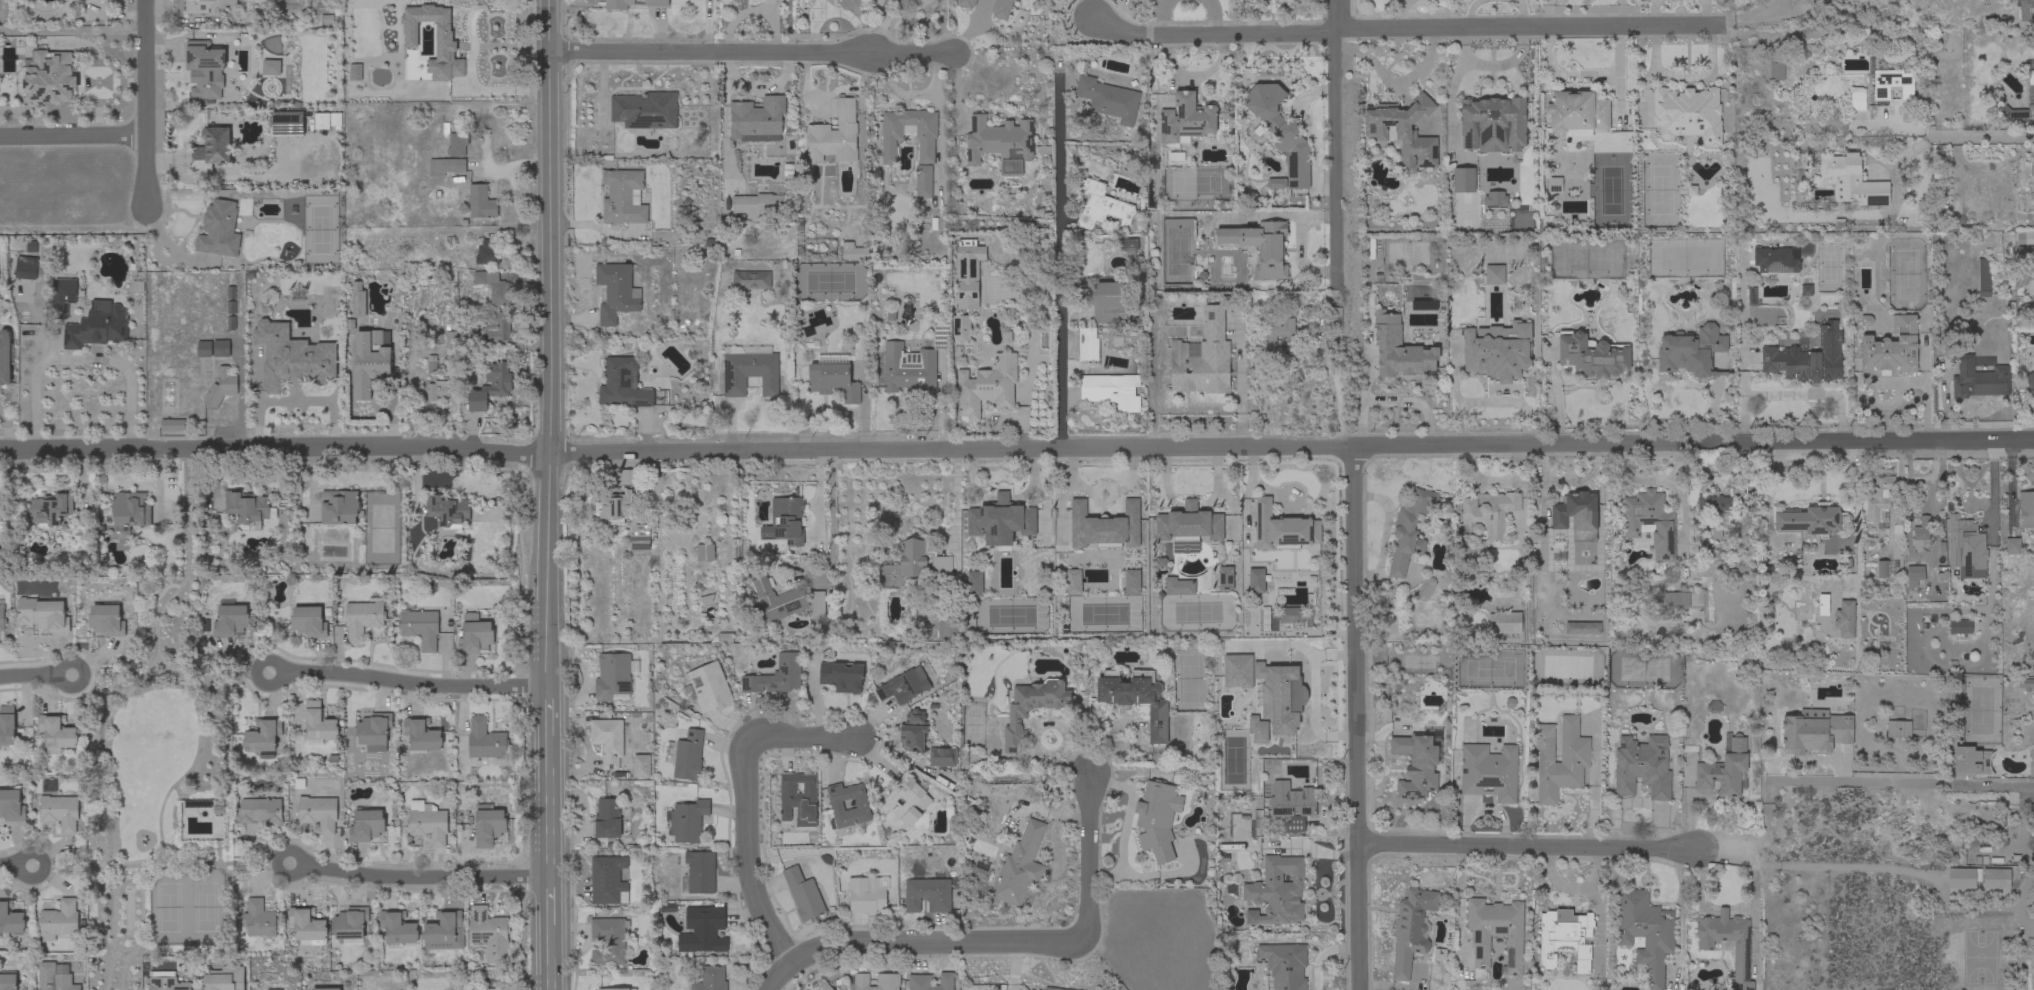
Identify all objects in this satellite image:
building: (1013, 0)
building: (632, 3)
building: (965, 3)
building: (207, 5)
building: (1000, 8)
building: (2026, 10)
road: (1409, 29)
building: (444, 44)
road: (751, 51)
building: (269, 67)
building: (205, 69)
building: (1776, 71)
building: (2030, 71)
building: (47, 78)
building: (1892, 85)
building: (2031, 93)
building: (1108, 99)
building: (1857, 101)
road: (143, 103)
building: (645, 110)
building: (1577, 113)
building: (2016, 113)
building: (1687, 114)
building: (757, 119)
building: (413, 120)
building: (1185, 120)
building: (321, 121)
building: (286, 122)
road: (1892, 123)
building: (1493, 124)
building: (1281, 132)
building: (1403, 132)
road: (71, 135)
building: (834, 136)
building: (892, 136)
road: (1978, 136)
building: (998, 140)
building: (455, 142)
road: (1333, 142)
building: (211, 150)
building: (1800, 160)
building: (445, 166)
building: (1463, 180)
building: (923, 181)
building: (1854, 181)
building: (1276, 183)
building: (1554, 185)
building: (623, 197)
building: (1495, 198)
building: (481, 202)
building: (759, 203)
building: (1101, 206)
building: (219, 229)
building: (1127, 245)
building: (1260, 246)
building: (2025, 247)
building: (853, 251)
building: (487, 252)
road: (1060, 260)
building: (1777, 262)
building: (25, 268)
building: (1494, 274)
building: (968, 275)
building: (1983, 277)
building: (751, 280)
building: (137, 286)
building: (493, 286)
building: (1805, 290)
building: (615, 292)
building: (62, 296)
building: (356, 299)
building: (1106, 302)
building: (97, 326)
building: (497, 326)
building: (960, 328)
building: (1279, 329)
building: (940, 336)
building: (450, 338)
building: (1087, 345)
building: (220, 348)
building: (1398, 348)
building: (1891, 348)
building: (204, 349)
building: (1498, 351)
building: (1691, 351)
building: (1592, 355)
building: (1808, 355)
building: (4, 357)
building: (291, 357)
building: (1202, 358)
road: (81, 359)
building: (368, 362)
building: (431, 364)
building: (908, 368)
building: (749, 369)
building: (833, 378)
building: (1978, 380)
building: (2030, 383)
building: (623, 384)
building: (490, 386)
building: (987, 386)
building: (220, 388)
road: (1239, 388)
road: (1334, 388)
building: (437, 390)
building: (1111, 391)
road: (1390, 400)
building: (172, 425)
road: (1016, 451)
building: (627, 476)
road: (549, 494)
building: (1723, 497)
road: (951, 499)
building: (1878, 501)
building: (246, 506)
building: (614, 507)
building: (50, 508)
building: (340, 508)
building: (2026, 509)
building: (130, 510)
building: (447, 510)
building: (1575, 512)
road: (832, 515)
building: (1486, 515)
building: (1809, 520)
building: (784, 521)
building: (1000, 521)
building: (1649, 522)
building: (1104, 526)
building: (1898, 526)
building: (1188, 527)
building: (1282, 529)
building: (642, 530)
building: (1408, 531)
building: (1921, 533)
building: (1961, 538)
building: (2012, 546)
building: (705, 552)
building: (913, 563)
building: (1884, 568)
building: (1914, 575)
building: (1225, 578)
building: (1256, 580)
building: (1072, 582)
building: (1132, 582)
building: (974, 583)
building: (1178, 586)
building: (1425, 588)
building: (774, 599)
building: (1676, 600)
building: (817, 606)
building: (43, 614)
building: (2, 617)
building: (229, 619)
building: (362, 619)
building: (1843, 619)
building: (106, 620)
building: (308, 622)
building: (1507, 623)
building: (1959, 626)
building: (420, 627)
building: (948, 630)
building: (475, 634)
building: (725, 638)
building: (1236, 671)
building: (614, 676)
building: (776, 676)
building: (841, 676)
road: (36, 677)
road: (408, 683)
building: (2025, 684)
building: (710, 686)
building: (903, 686)
building: (1279, 696)
building: (1136, 699)
building: (1031, 708)
road: (1358, 718)
building: (318, 722)
road: (1041, 725)
building: (7, 726)
building: (1898, 729)
building: (1257, 730)
building: (374, 731)
building: (1815, 731)
building: (57, 733)
building: (263, 735)
building: (421, 735)
building: (912, 738)
building: (485, 740)
building: (608, 740)
road: (802, 740)
building: (689, 756)
building: (942, 757)
building: (1560, 759)
building: (1970, 761)
road: (1075, 762)
building: (1416, 764)
building: (641, 766)
building: (1642, 766)
building: (1724, 770)
building: (1489, 772)
road: (1901, 785)
building: (798, 798)
building: (907, 801)
building: (861, 804)
building: (1292, 805)
building: (11, 806)
building: (218, 807)
building: (2031, 810)
building: (259, 811)
building: (60, 812)
building: (318, 813)
building: (1157, 818)
building: (607, 819)
building: (688, 821)
building: (428, 823)
building: (366, 825)
building: (488, 825)
road: (1528, 848)
road: (1765, 849)
road: (752, 856)
road: (9, 865)
road: (19, 865)
building: (1020, 867)
building: (981, 869)
building: (698, 873)
building: (1962, 877)
road: (419, 879)
building: (1996, 879)
building: (607, 880)
building: (1276, 892)
building: (805, 894)
building: (867, 894)
building: (927, 894)
road: (2016, 898)
building: (664, 908)
building: (10, 919)
building: (59, 919)
building: (259, 919)
building: (305, 925)
building: (350, 925)
building: (397, 927)
building: (1411, 929)
building: (703, 930)
building: (444, 931)
building: (1646, 933)
building: (489, 934)
building: (1495, 934)
building: (1565, 940)
building: (608, 941)
building: (2033, 941)
road: (1001, 944)
building: (1741, 945)
building: (1440, 955)
building: (1285, 965)
building: (2033, 969)
building: (224, 978)
building: (711, 979)
building: (165, 981)
building: (8, 982)
building: (877, 982)
building: (930, 982)
building: (60, 985)
building: (824, 986)
building: (272, 989)
building: (326, 989)
building: (488, 989)
building: (619, 989)
building: (1052, 989)

